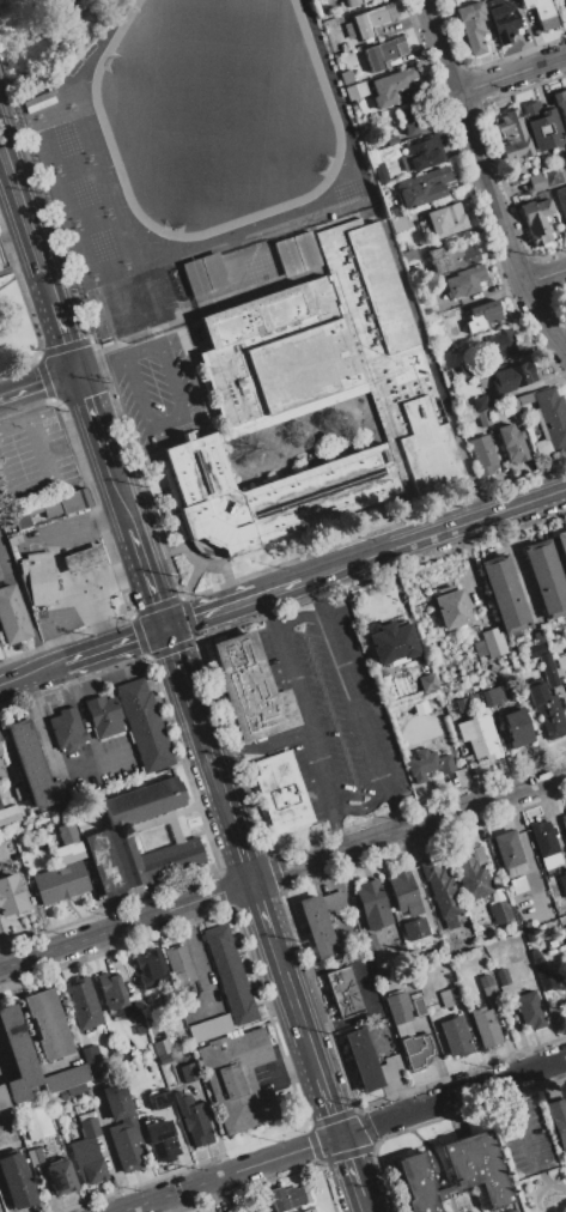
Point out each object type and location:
building: (352, 2)
building: (541, 12)
building: (381, 16)
building: (503, 19)
building: (361, 25)
building: (471, 25)
building: (349, 31)
building: (384, 53)
road: (510, 73)
building: (346, 77)
building: (391, 86)
building: (355, 91)
park: (209, 99)
building: (560, 103)
track: (214, 113)
building: (414, 121)
building: (541, 125)
building: (512, 135)
building: (391, 139)
building: (422, 153)
building: (381, 172)
building: (550, 176)
road: (483, 178)
building: (536, 182)
building: (422, 187)
park: (83, 189)
building: (561, 200)
building: (394, 211)
road: (26, 218)
building: (446, 219)
building: (537, 220)
building: (397, 223)
building: (419, 232)
road: (81, 234)
building: (305, 250)
building: (286, 256)
building: (408, 256)
building: (451, 257)
building: (214, 272)
building: (412, 272)
road: (543, 275)
building: (194, 278)
building: (465, 280)
road: (7, 281)
building: (424, 303)
building: (482, 315)
park: (13, 321)
building: (432, 326)
road: (66, 335)
building: (505, 341)
building: (331, 356)
road: (34, 357)
road: (102, 364)
building: (469, 369)
traffic signals: (78, 371)
building: (513, 375)
building: (482, 381)
road: (38, 384)
building: (524, 399)
building: (480, 402)
road: (181, 411)
building: (483, 417)
road: (93, 419)
building: (549, 422)
building: (512, 443)
building: (483, 454)
road: (47, 467)
building: (267, 493)
building: (31, 495)
road: (120, 497)
building: (51, 507)
road: (477, 519)
road: (59, 534)
building: (561, 544)
building: (83, 558)
road: (348, 565)
building: (0, 575)
building: (546, 577)
building: (0, 578)
building: (38, 578)
road: (146, 578)
road: (103, 581)
road: (282, 588)
building: (504, 593)
building: (450, 607)
road: (211, 613)
road: (72, 614)
building: (12, 616)
road: (293, 618)
traffic signals: (164, 630)
building: (392, 642)
building: (489, 644)
road: (112, 646)
building: (535, 649)
road: (174, 656)
building: (561, 661)
building: (549, 669)
road: (31, 673)
building: (426, 683)
building: (565, 683)
building: (249, 690)
building: (492, 696)
road: (352, 704)
building: (457, 707)
building: (547, 710)
road: (83, 713)
building: (102, 715)
road: (300, 722)
road: (41, 723)
building: (144, 723)
building: (66, 728)
building: (516, 728)
road: (200, 737)
building: (479, 738)
building: (2, 755)
building: (426, 764)
building: (32, 768)
building: (18, 792)
building: (281, 792)
road: (359, 805)
road: (224, 806)
building: (8, 814)
building: (37, 819)
building: (564, 820)
road: (408, 826)
building: (67, 832)
building: (105, 837)
building: (544, 844)
road: (239, 852)
building: (509, 852)
building: (65, 853)
building: (479, 854)
building: (5, 863)
building: (471, 874)
building: (60, 883)
building: (562, 883)
building: (518, 884)
building: (554, 890)
building: (442, 891)
building: (403, 892)
building: (11, 896)
building: (333, 902)
building: (371, 904)
building: (561, 907)
building: (499, 908)
road: (261, 910)
road: (124, 925)
building: (316, 926)
building: (409, 927)
building: (564, 931)
building: (528, 937)
building: (369, 941)
building: (519, 941)
building: (552, 944)
road: (276, 955)
building: (499, 963)
building: (178, 964)
building: (150, 968)
building: (519, 968)
building: (542, 971)
building: (230, 974)
building: (503, 976)
building: (486, 987)
building: (366, 988)
building: (112, 989)
building: (202, 992)
building: (342, 992)
building: (450, 996)
road: (293, 1002)
building: (83, 1004)
building: (419, 1006)
building: (530, 1010)
building: (398, 1012)
building: (138, 1017)
building: (48, 1024)
building: (485, 1026)
building: (455, 1035)
building: (162, 1046)
building: (415, 1050)
building: (18, 1054)
building: (89, 1054)
road: (311, 1055)
building: (361, 1059)
building: (390, 1068)
building: (189, 1072)
building: (66, 1077)
building: (134, 1077)
building: (242, 1081)
building: (75, 1090)
building: (2, 1098)
building: (160, 1099)
road: (329, 1105)
building: (6, 1116)
building: (193, 1119)
building: (559, 1119)
building: (36, 1121)
building: (89, 1123)
building: (123, 1128)
road: (341, 1134)
traffic signals: (339, 1135)
building: (160, 1141)
building: (35, 1155)
building: (89, 1162)
road: (348, 1165)
building: (455, 1174)
building: (61, 1177)
building: (16, 1182)
building: (287, 1196)
road: (363, 1204)
building: (267, 1208)
building: (463, 1208)
building: (310, 1211)
building: (513, 1211)

